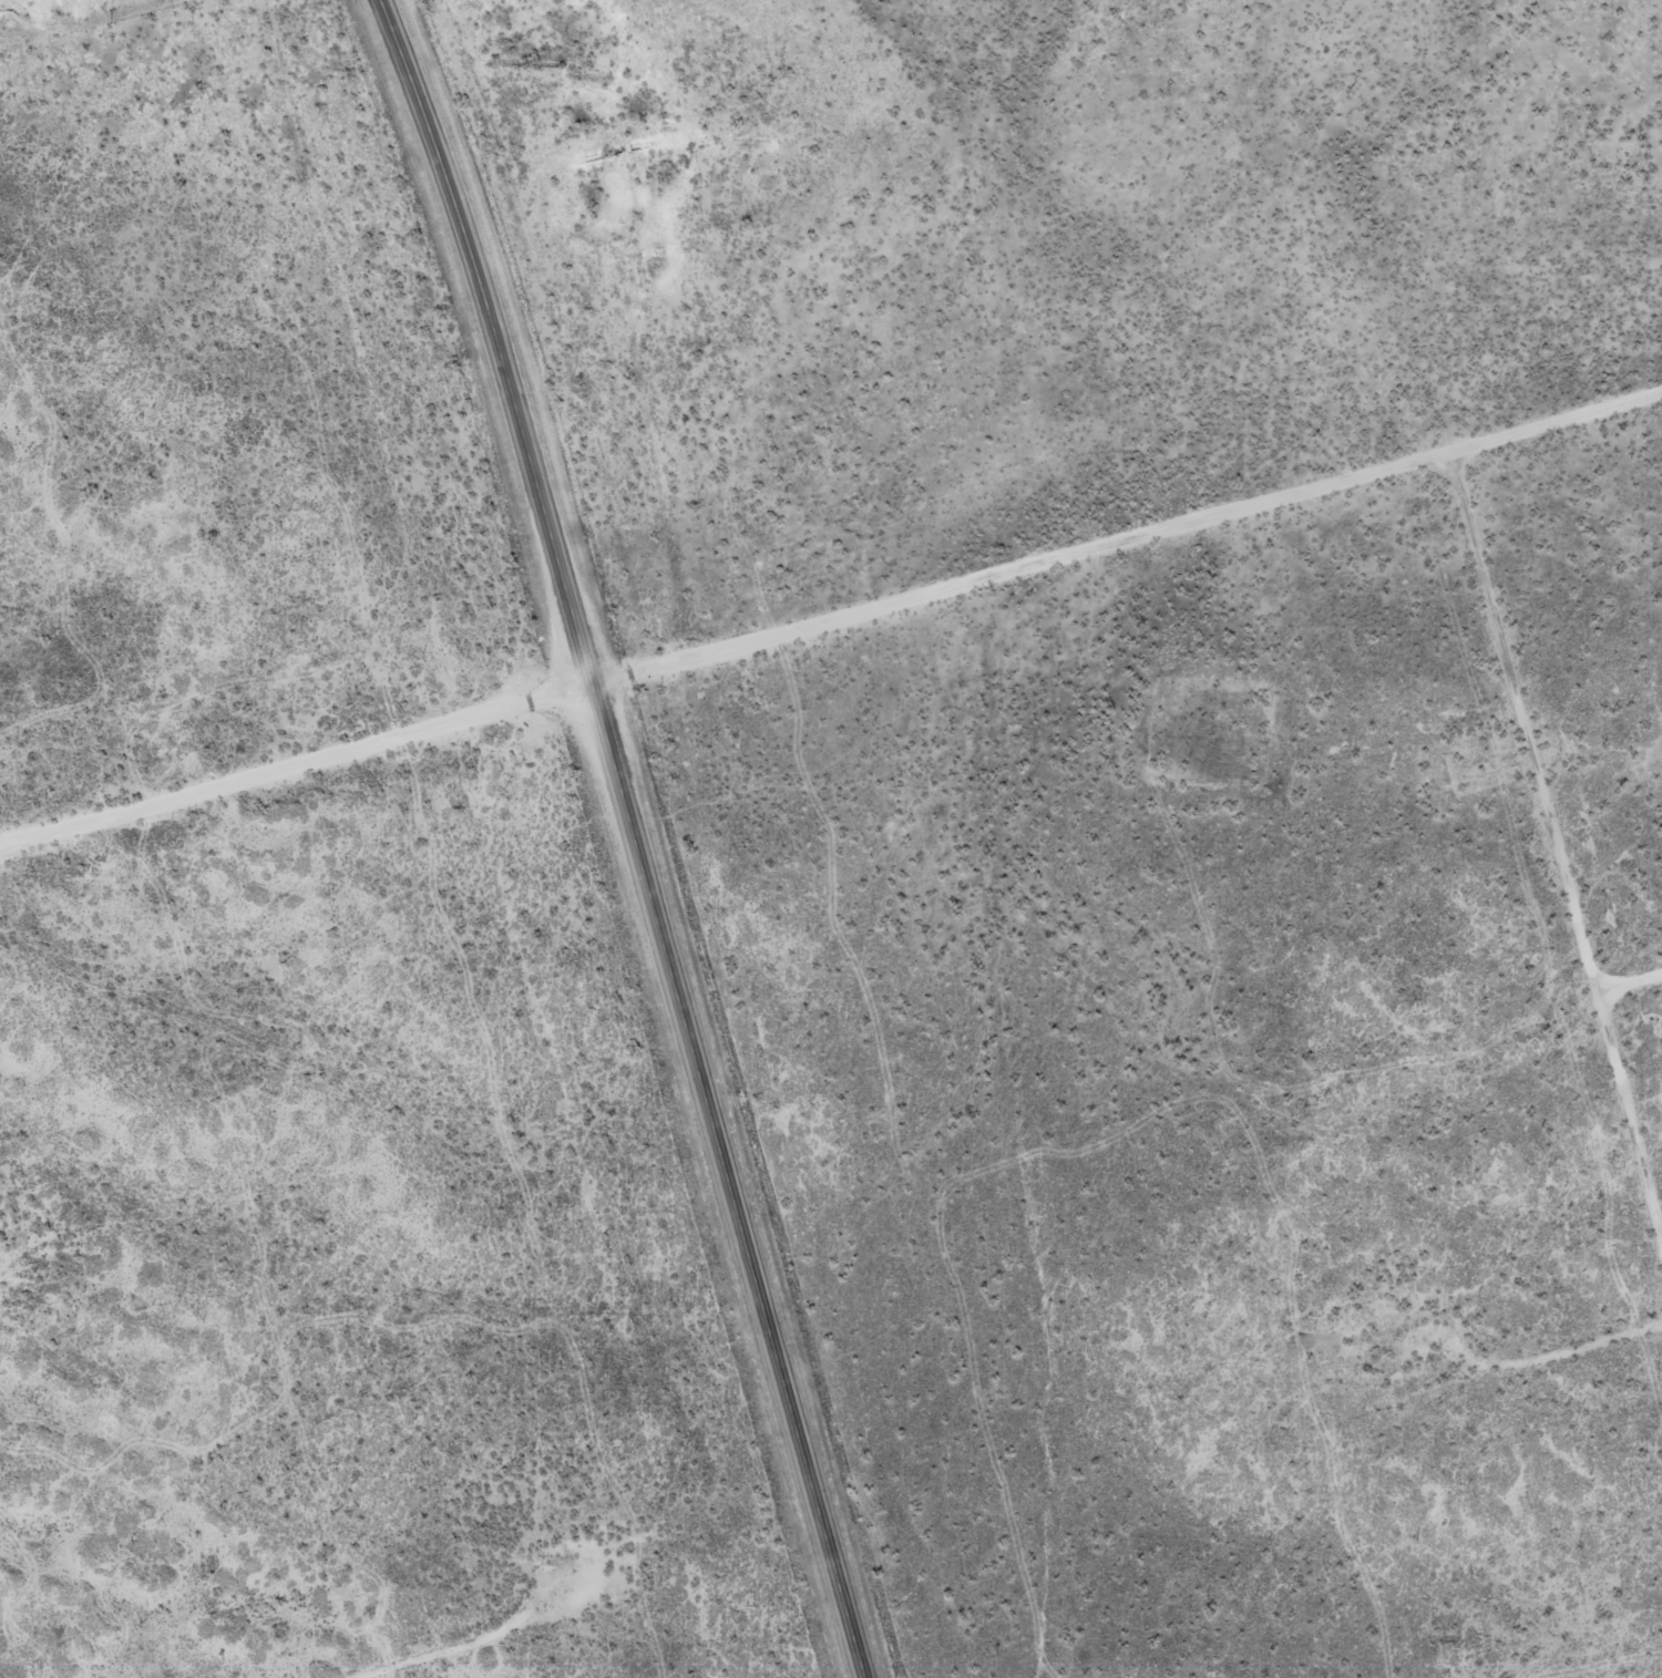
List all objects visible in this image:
road: (829, 624)
road: (630, 834)
road: (1557, 846)
road: (481, 1638)

